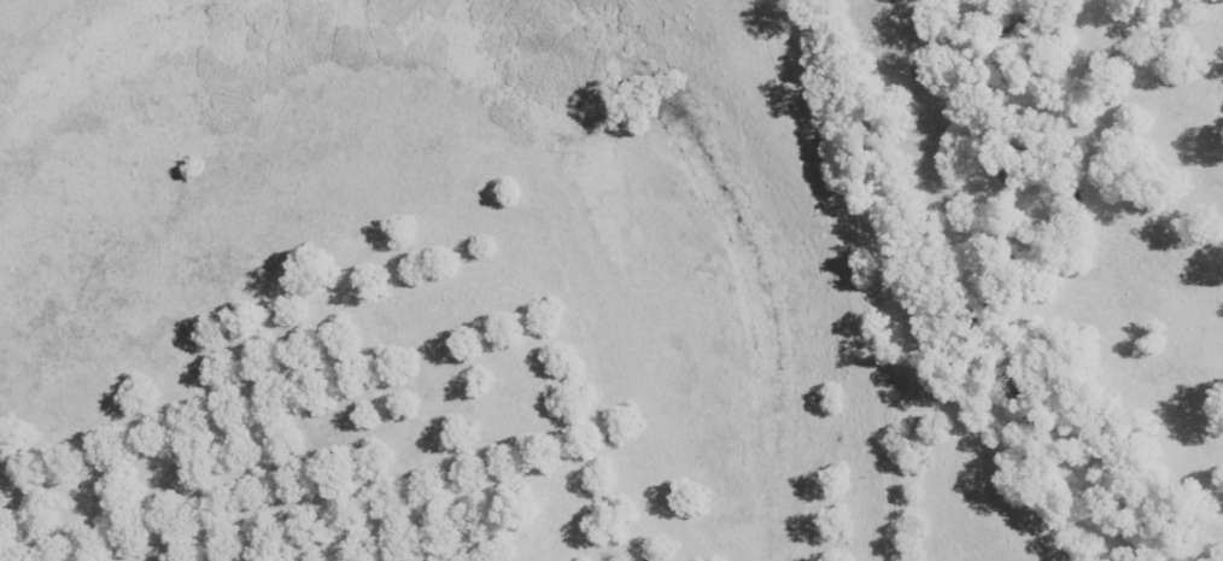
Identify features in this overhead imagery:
road: (873, 273)

